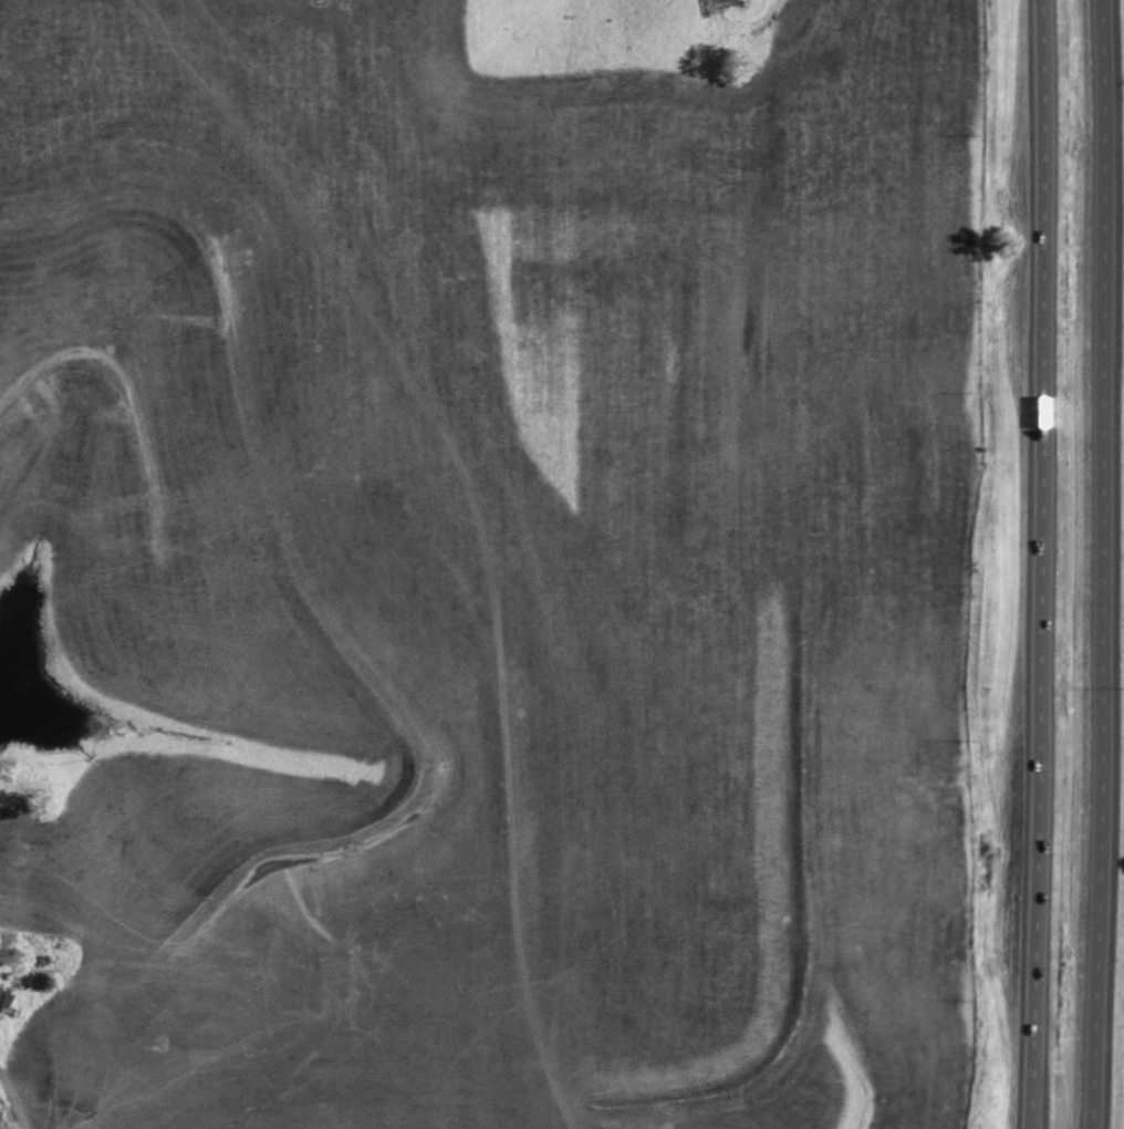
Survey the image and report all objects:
road: (1039, 563)
road: (1105, 563)
road: (18, 1096)

